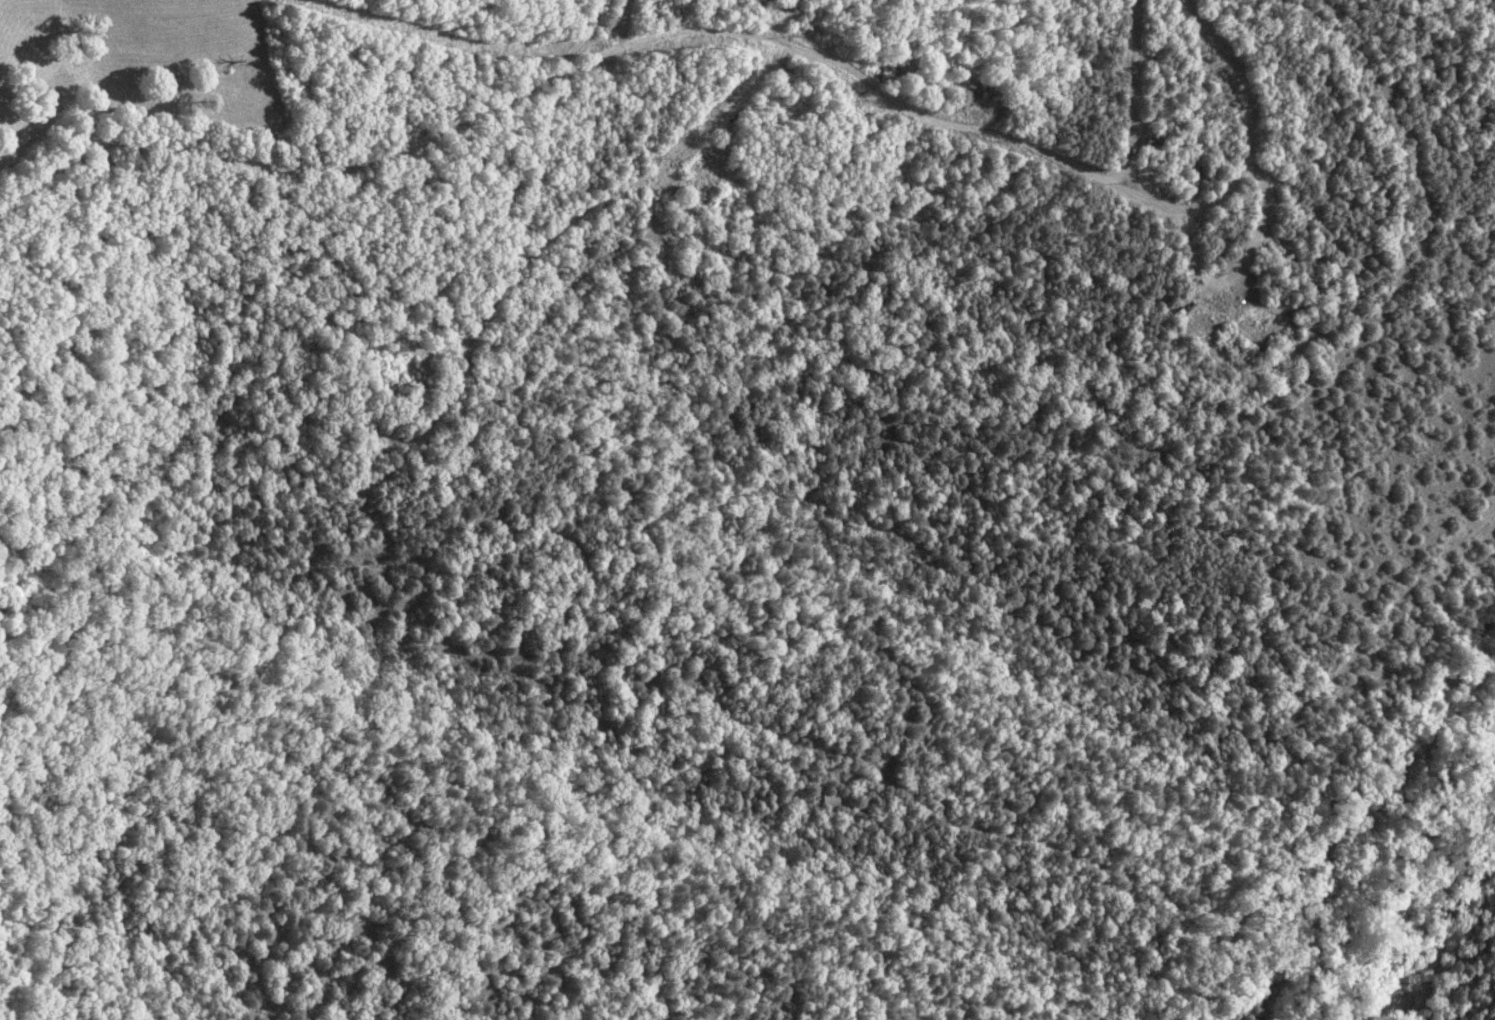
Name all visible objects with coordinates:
road: (716, 33)
road: (579, 40)
road: (1235, 263)

